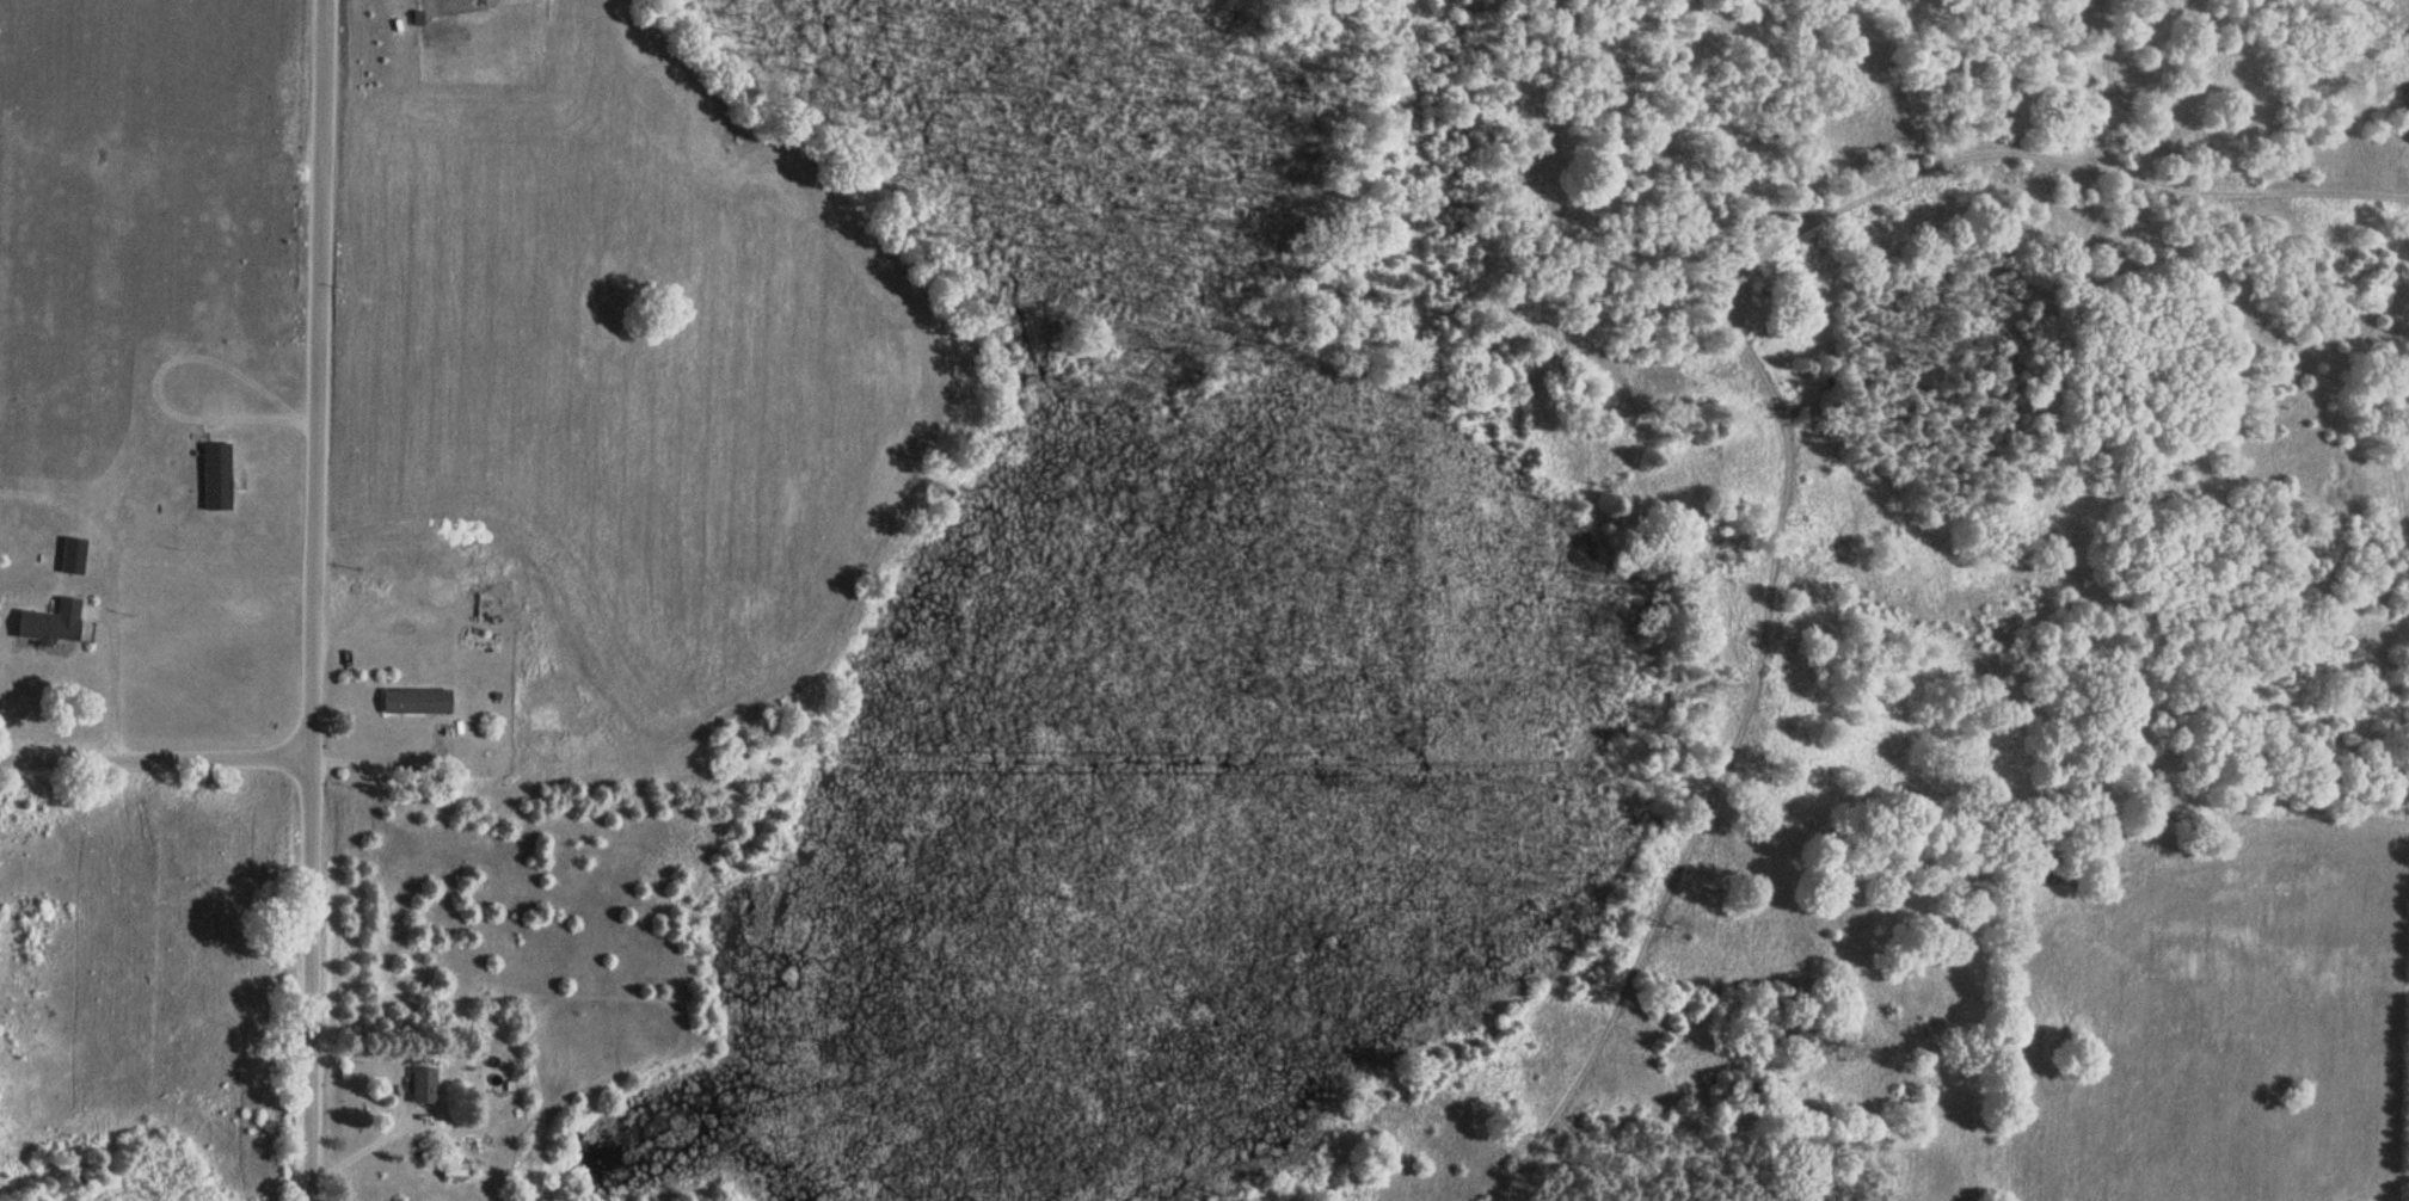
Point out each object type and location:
road: (154, 387)
road: (1782, 413)
building: (215, 474)
building: (72, 552)
road: (109, 581)
road: (313, 599)
building: (49, 618)
road: (112, 672)
building: (412, 696)
road: (154, 759)
road: (385, 759)
building: (420, 1083)
road: (401, 1108)
road: (416, 1116)
building: (451, 1168)

